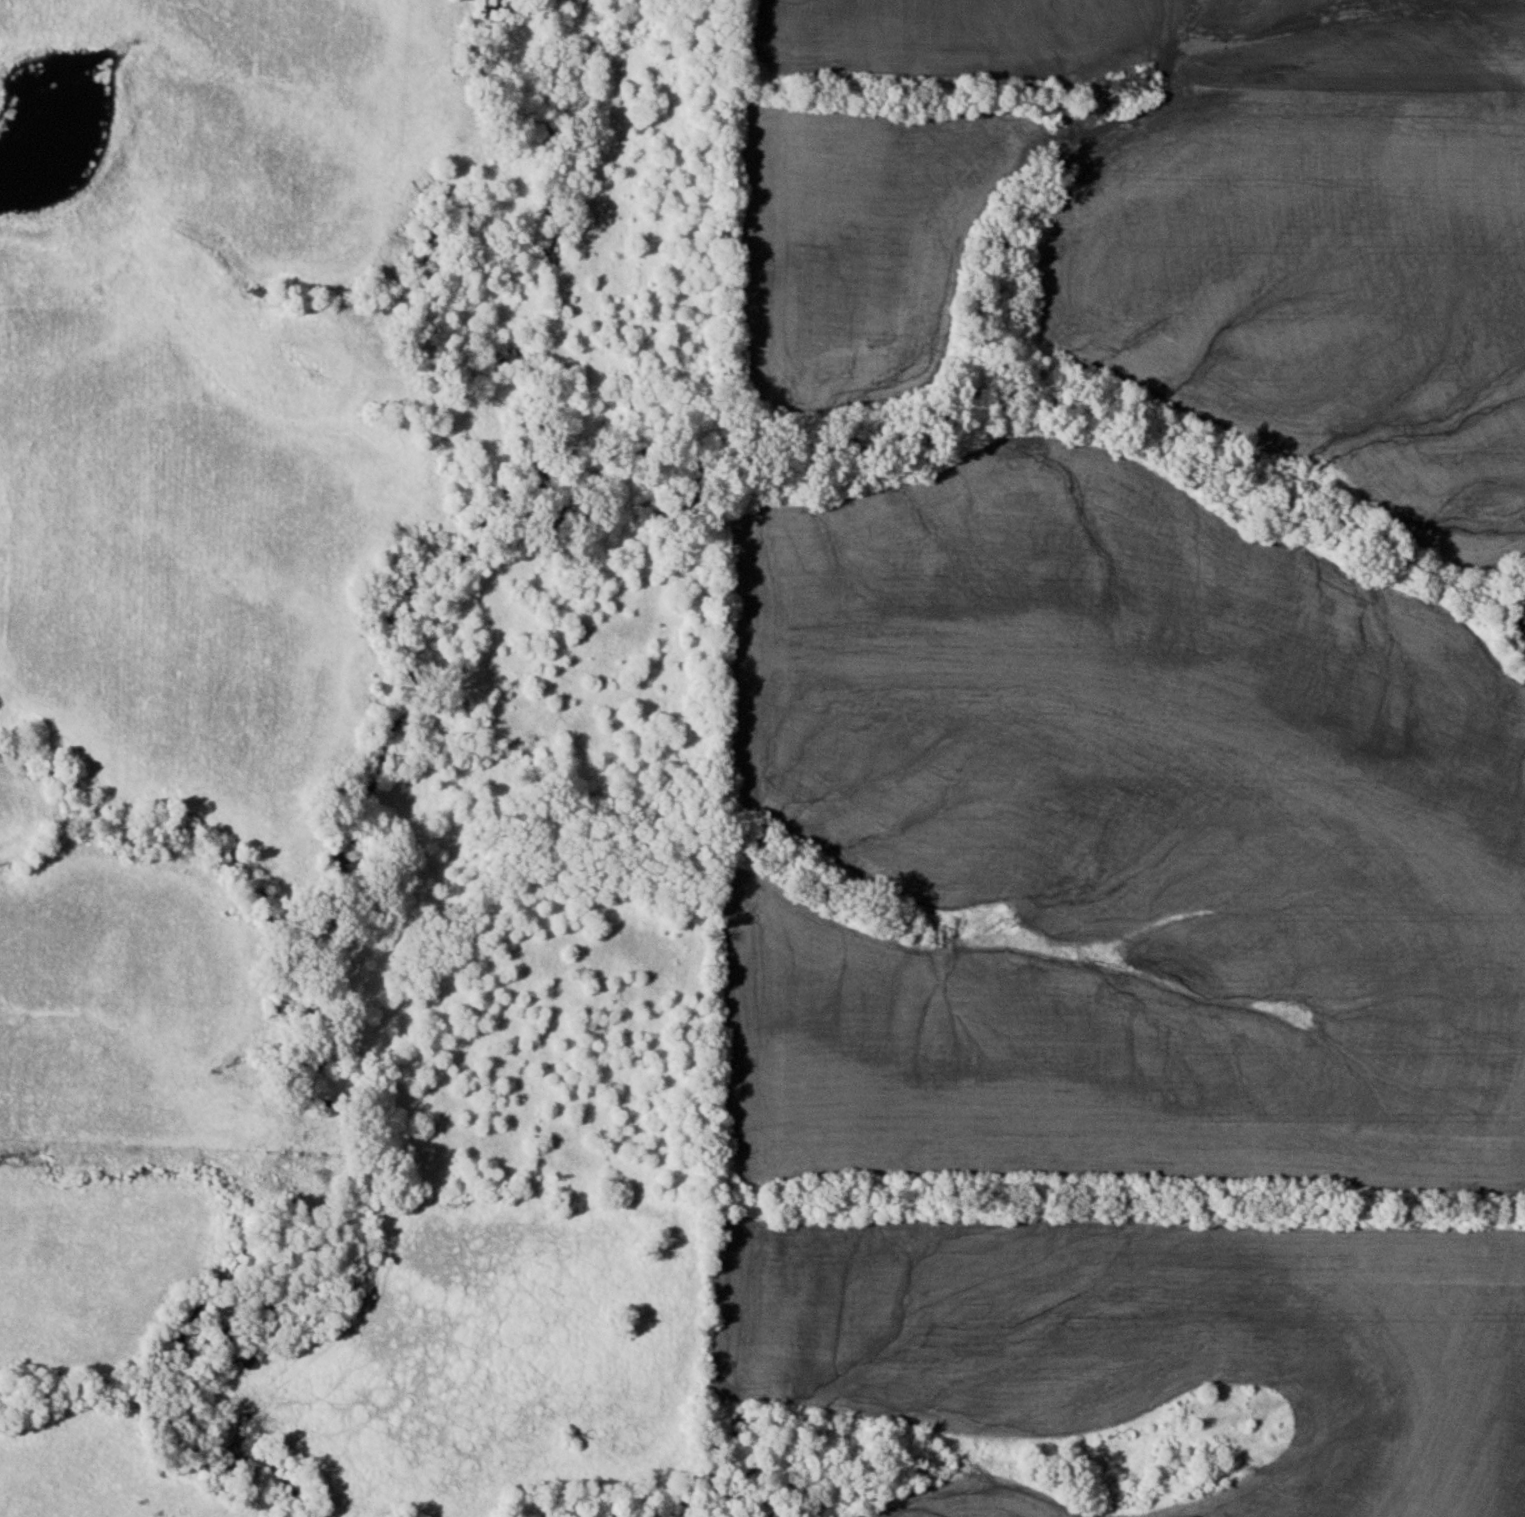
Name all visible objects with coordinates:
crop: (1143, 39)
crop: (855, 235)

